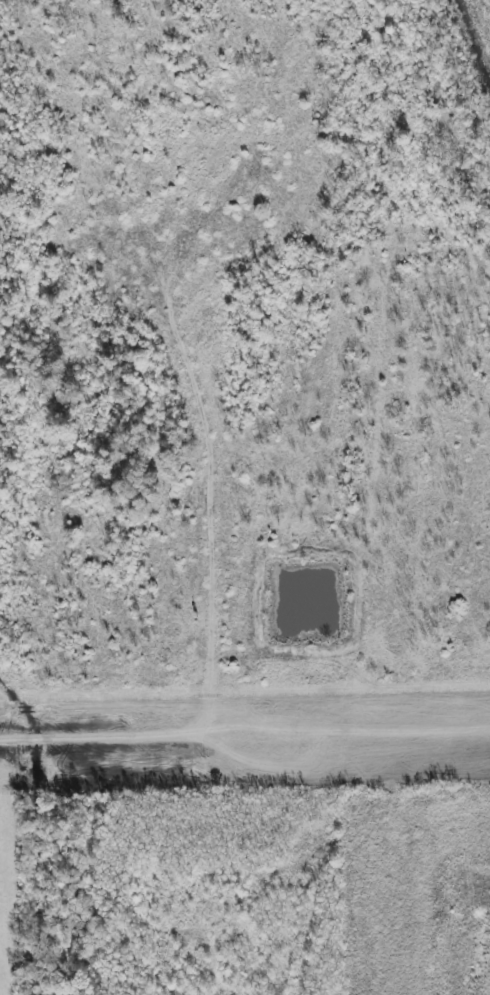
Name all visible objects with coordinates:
road: (245, 737)
road: (245, 770)

